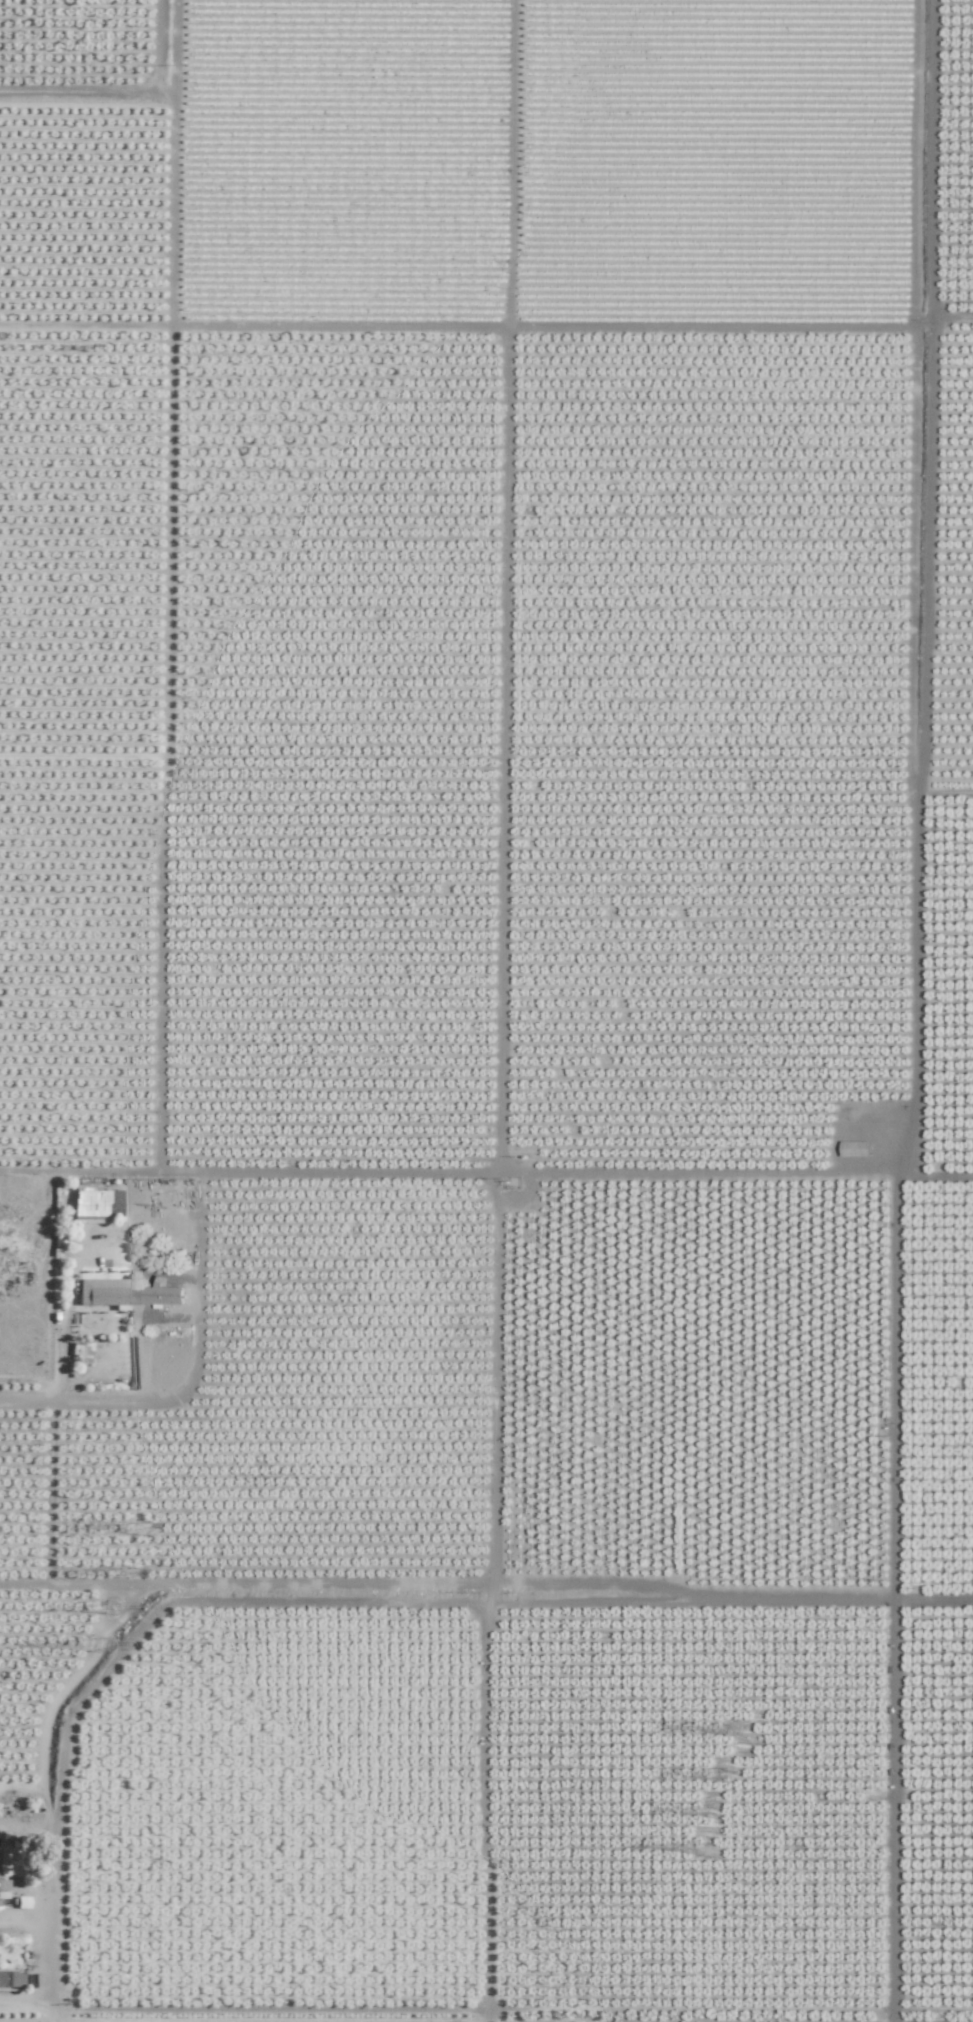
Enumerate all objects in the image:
road: (79, 87)
road: (171, 159)
road: (164, 742)
building: (95, 1203)
road: (104, 1237)
road: (142, 1268)
building: (125, 1293)
road: (147, 1398)
power tower: (135, 1528)
power tower: (118, 1573)
power tower: (109, 1609)
power tower: (97, 1648)
power tower: (746, 1733)
power tower: (730, 1777)
power tower: (718, 1814)
power tower: (705, 1849)
road: (52, 1916)
building: (11, 1978)
building: (31, 1980)
road: (50, 2011)

